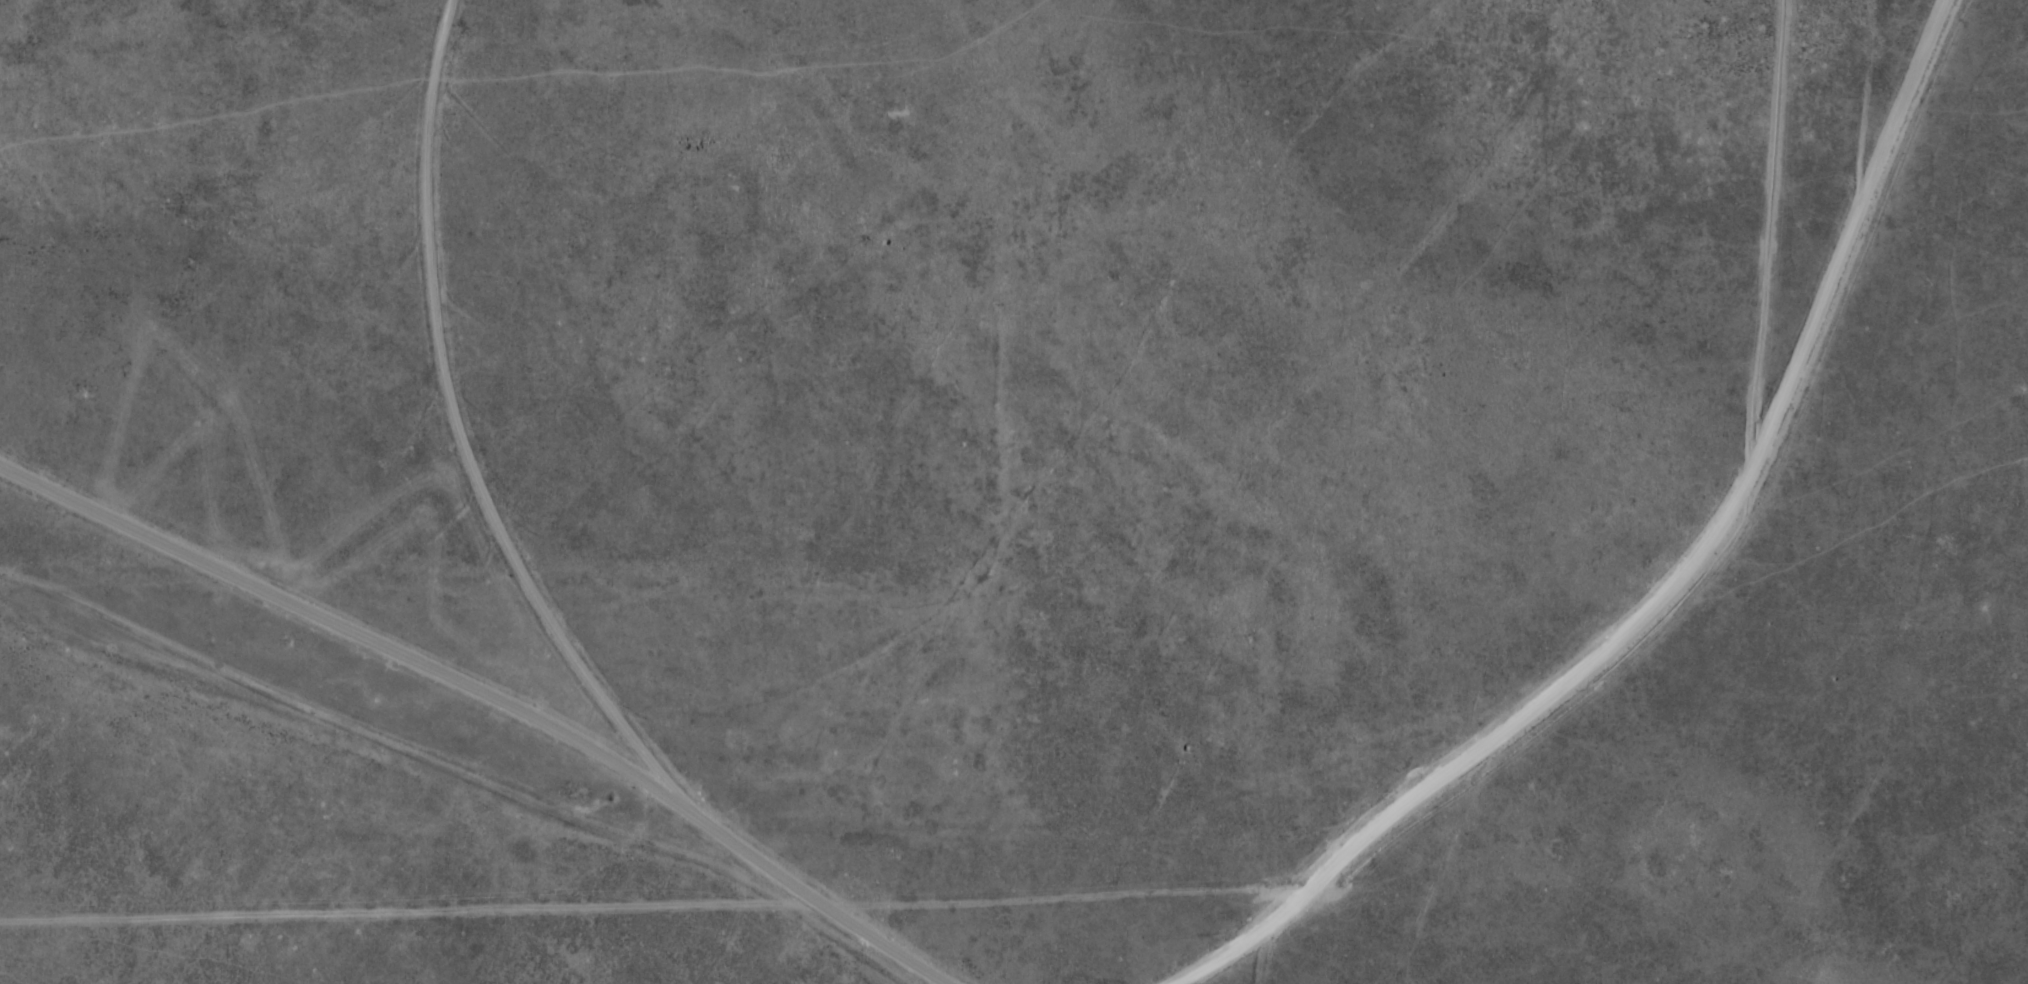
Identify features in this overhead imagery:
road: (1981, 490)

